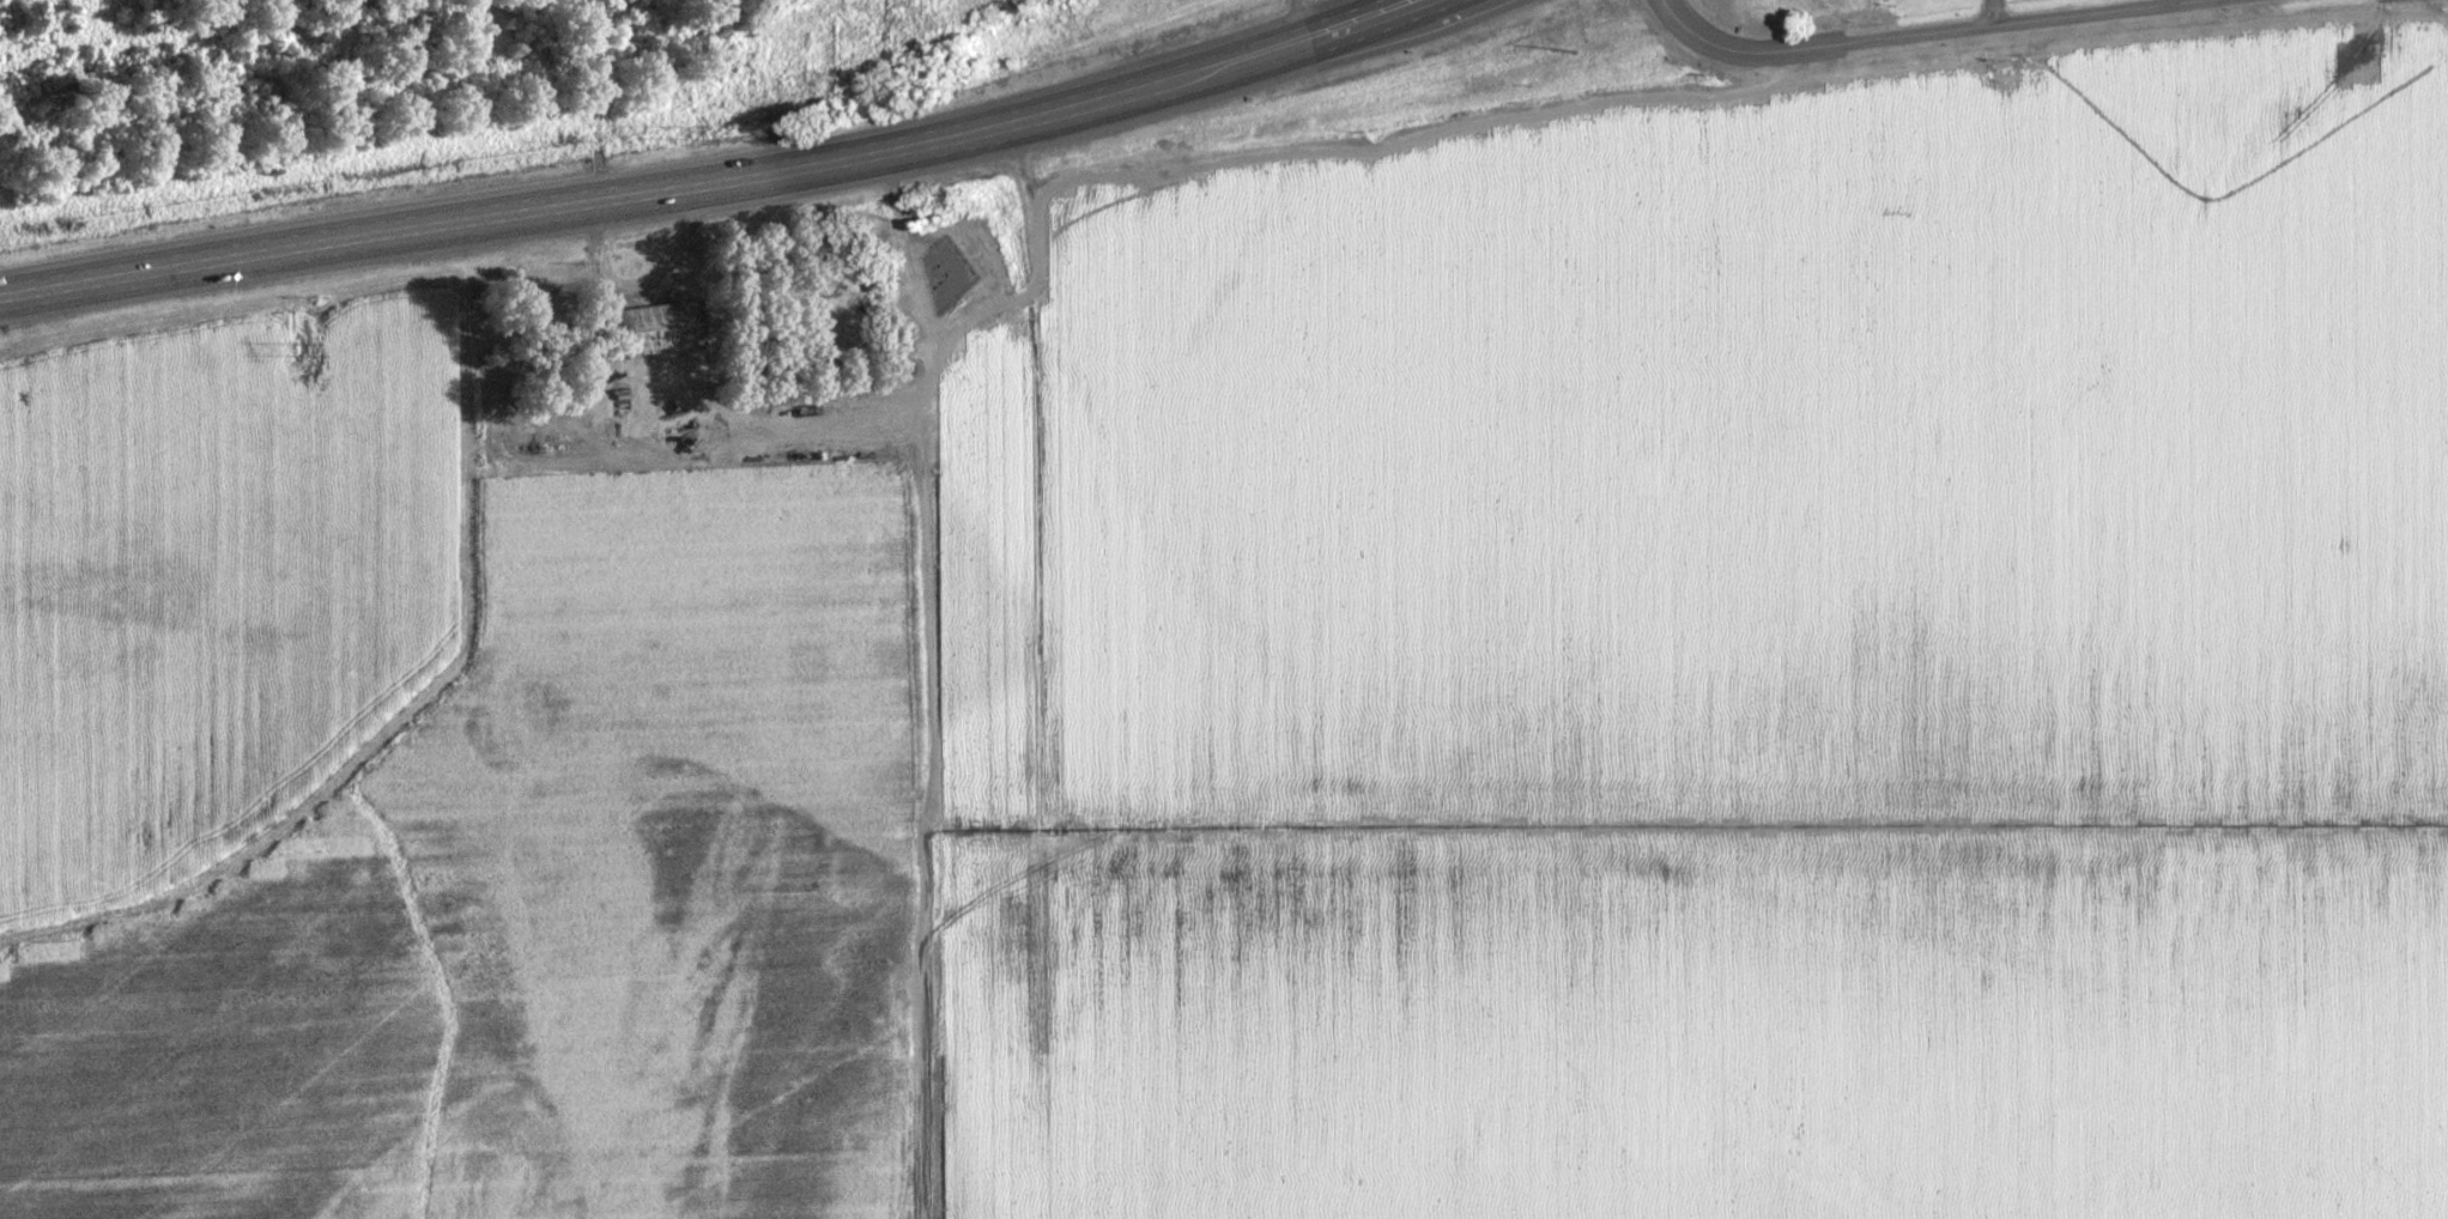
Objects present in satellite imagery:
road: (1943, 41)
road: (1152, 77)
road: (1198, 92)
road: (455, 223)
building: (653, 332)
power tower: (295, 352)

